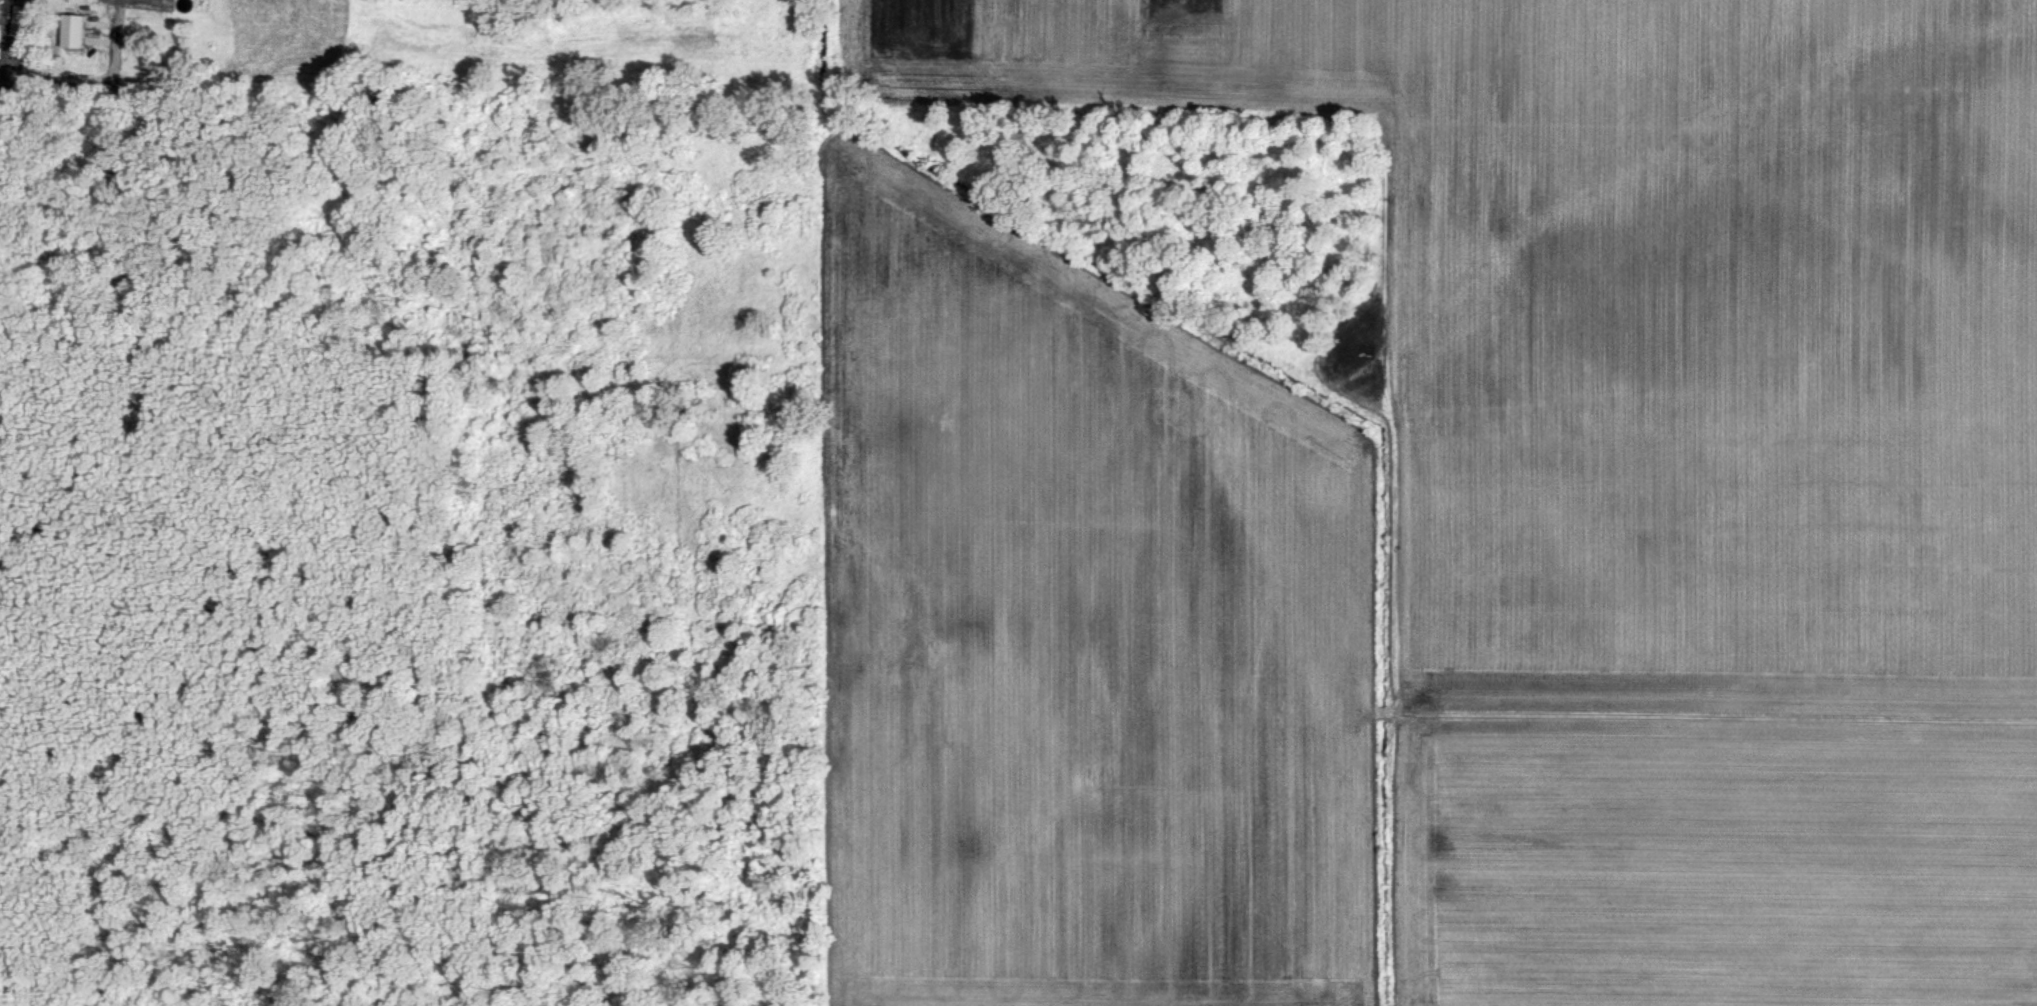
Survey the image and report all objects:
building: (146, 1)
building: (74, 30)
road: (247, 93)

